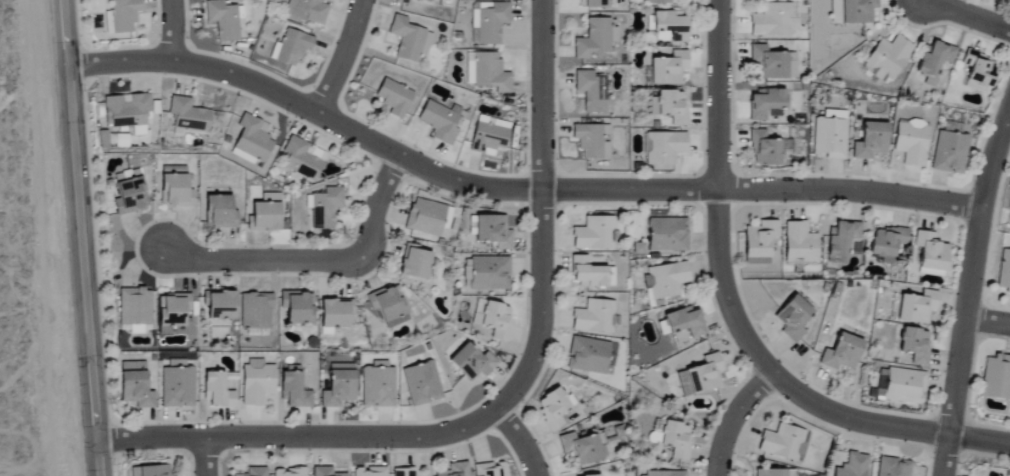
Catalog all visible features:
building: (426, 0)
building: (1009, 0)
building: (402, 1)
building: (655, 1)
building: (596, 4)
building: (307, 10)
building: (852, 11)
building: (123, 15)
road: (966, 15)
building: (222, 20)
building: (771, 20)
building: (487, 22)
building: (671, 24)
road: (169, 31)
building: (406, 39)
building: (593, 39)
road: (341, 57)
building: (888, 58)
building: (935, 61)
building: (771, 64)
building: (668, 69)
building: (486, 72)
building: (591, 91)
building: (393, 98)
building: (766, 104)
building: (671, 106)
building: (126, 110)
building: (187, 115)
building: (439, 121)
road: (1007, 127)
building: (829, 135)
building: (489, 136)
building: (252, 140)
building: (592, 141)
building: (870, 141)
building: (911, 142)
building: (663, 148)
building: (766, 149)
building: (949, 152)
building: (302, 158)
building: (173, 187)
road: (510, 189)
building: (128, 196)
building: (1009, 206)
building: (325, 208)
road: (539, 210)
building: (218, 212)
building: (263, 217)
building: (424, 217)
building: (493, 231)
building: (594, 234)
building: (667, 235)
road: (80, 238)
building: (841, 240)
building: (759, 241)
building: (800, 243)
building: (886, 243)
building: (930, 251)
road: (318, 261)
building: (414, 263)
road: (971, 271)
building: (466, 273)
building: (489, 273)
building: (587, 273)
building: (1004, 273)
building: (665, 280)
building: (220, 305)
building: (387, 306)
building: (134, 307)
building: (296, 307)
building: (917, 307)
building: (172, 309)
building: (255, 311)
building: (334, 313)
building: (594, 317)
road: (733, 318)
building: (793, 318)
building: (494, 320)
building: (685, 322)
road: (987, 322)
building: (915, 345)
building: (841, 353)
building: (587, 355)
building: (471, 363)
building: (700, 376)
building: (996, 378)
building: (256, 382)
building: (421, 384)
building: (134, 385)
building: (229, 385)
building: (337, 386)
building: (377, 386)
building: (905, 386)
building: (176, 387)
building: (215, 392)
building: (293, 392)
building: (553, 408)
road: (733, 418)
road: (298, 435)
road: (521, 438)
building: (675, 440)
building: (782, 443)
building: (581, 448)
road: (944, 455)
road: (204, 456)
building: (852, 466)
building: (893, 467)
building: (454, 470)
building: (491, 470)
building: (149, 471)
building: (369, 471)
building: (254, 472)
building: (288, 472)
building: (403, 472)
building: (773, 473)
building: (663, 474)

